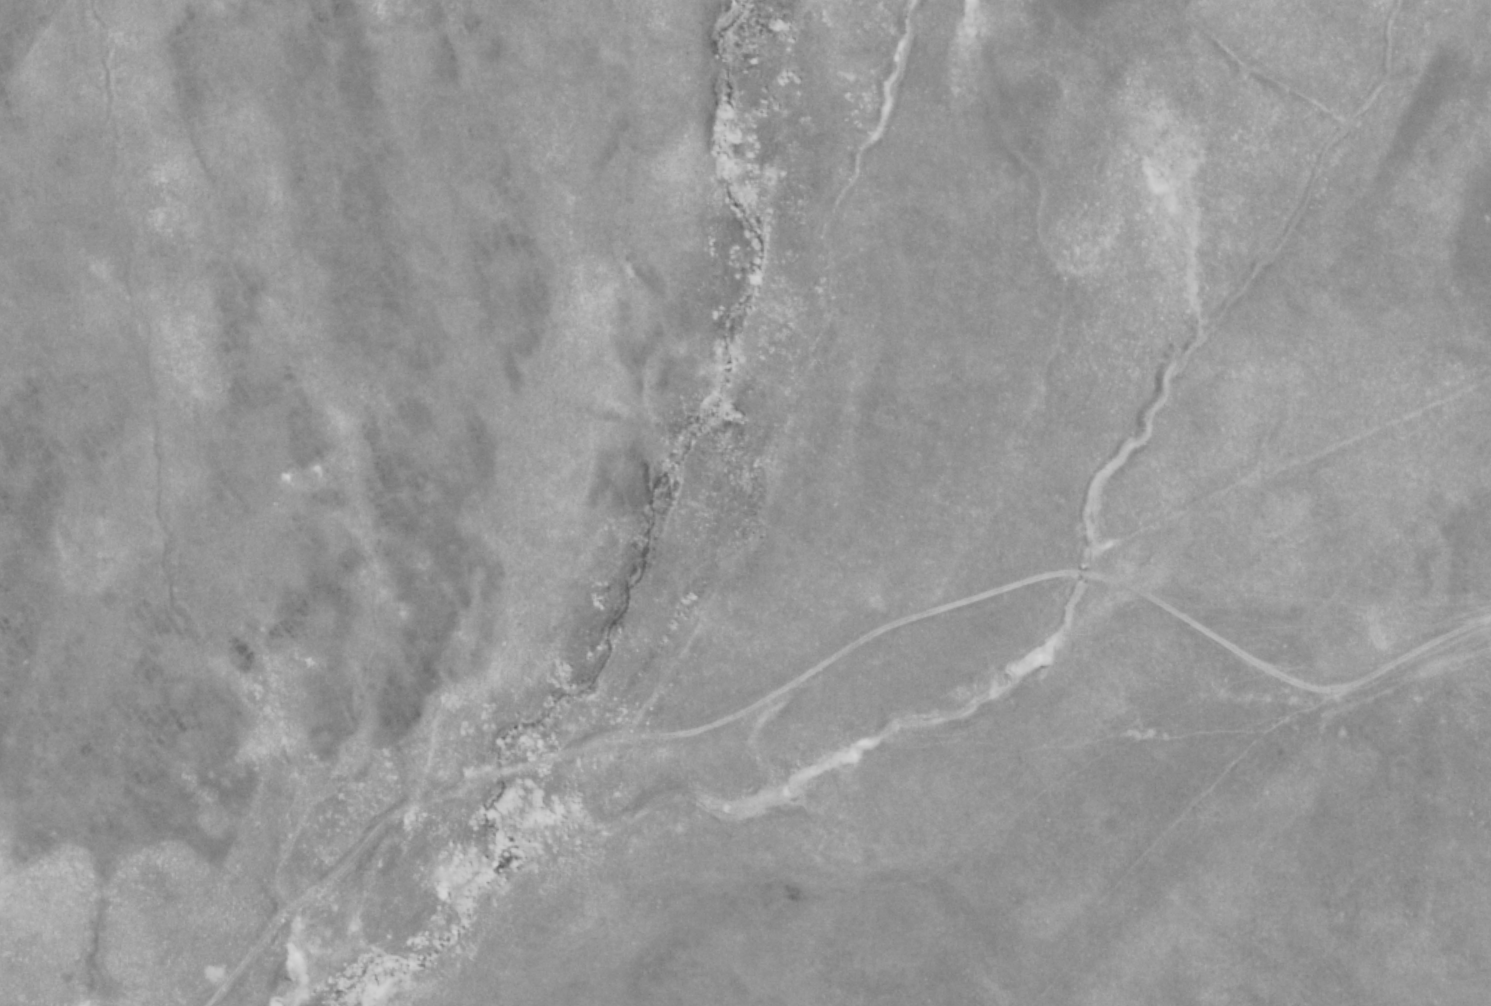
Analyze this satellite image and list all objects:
road: (1107, 586)

